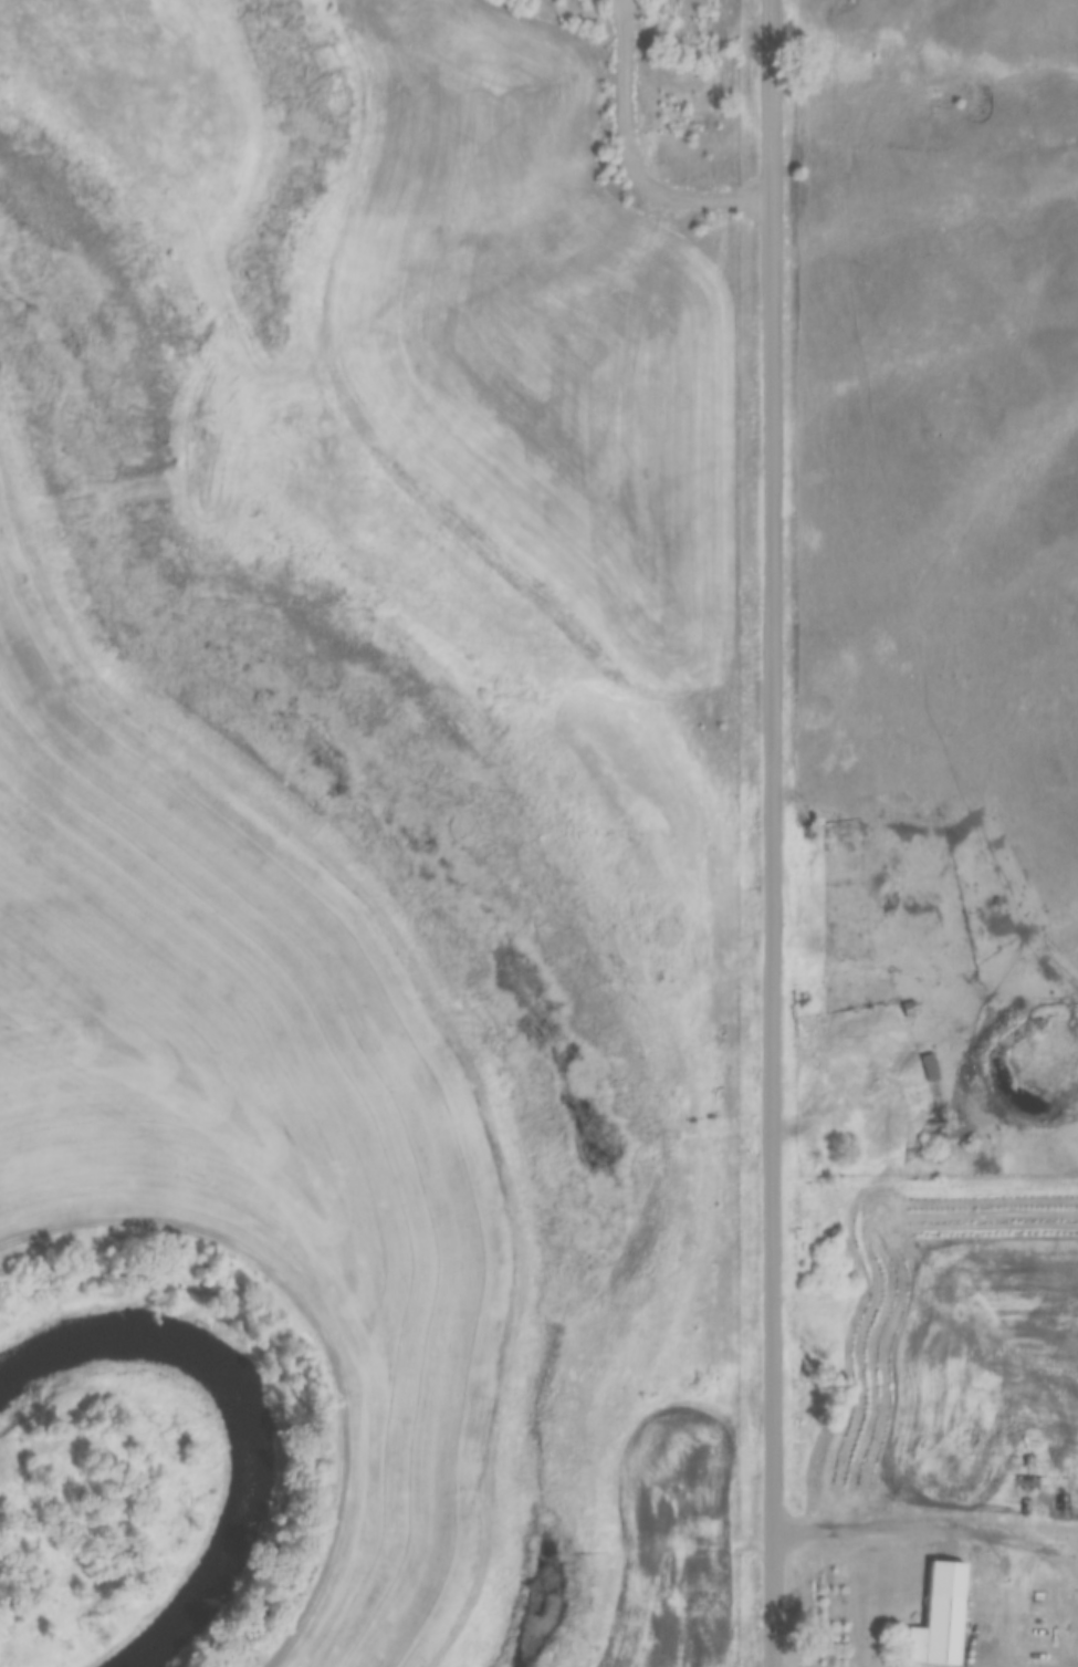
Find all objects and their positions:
road: (622, 155)
road: (845, 777)
building: (923, 829)
road: (771, 833)
building: (913, 1009)
building: (931, 1069)
road: (854, 1098)
road: (321, 1326)
river: (234, 1423)
building: (866, 1462)
building: (938, 1634)

